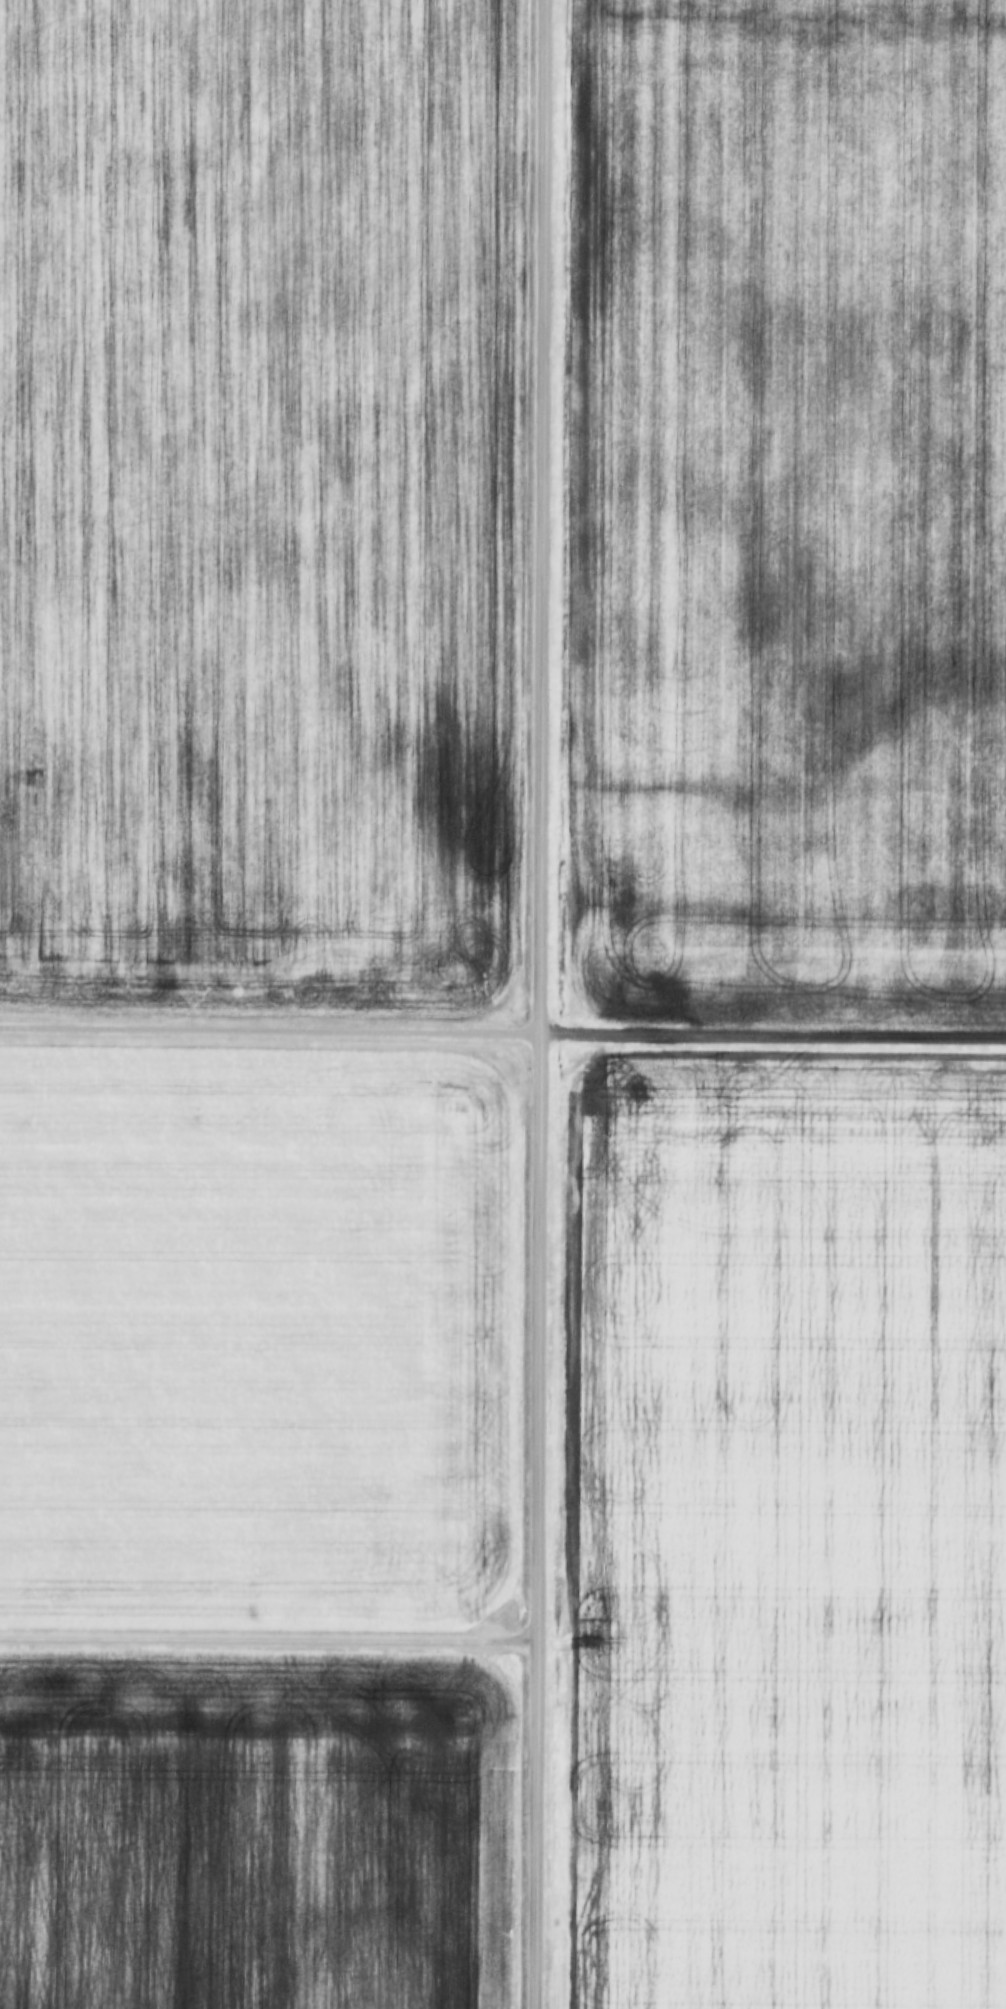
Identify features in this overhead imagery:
road: (537, 1004)
road: (268, 1026)
road: (771, 1030)
road: (269, 1618)

